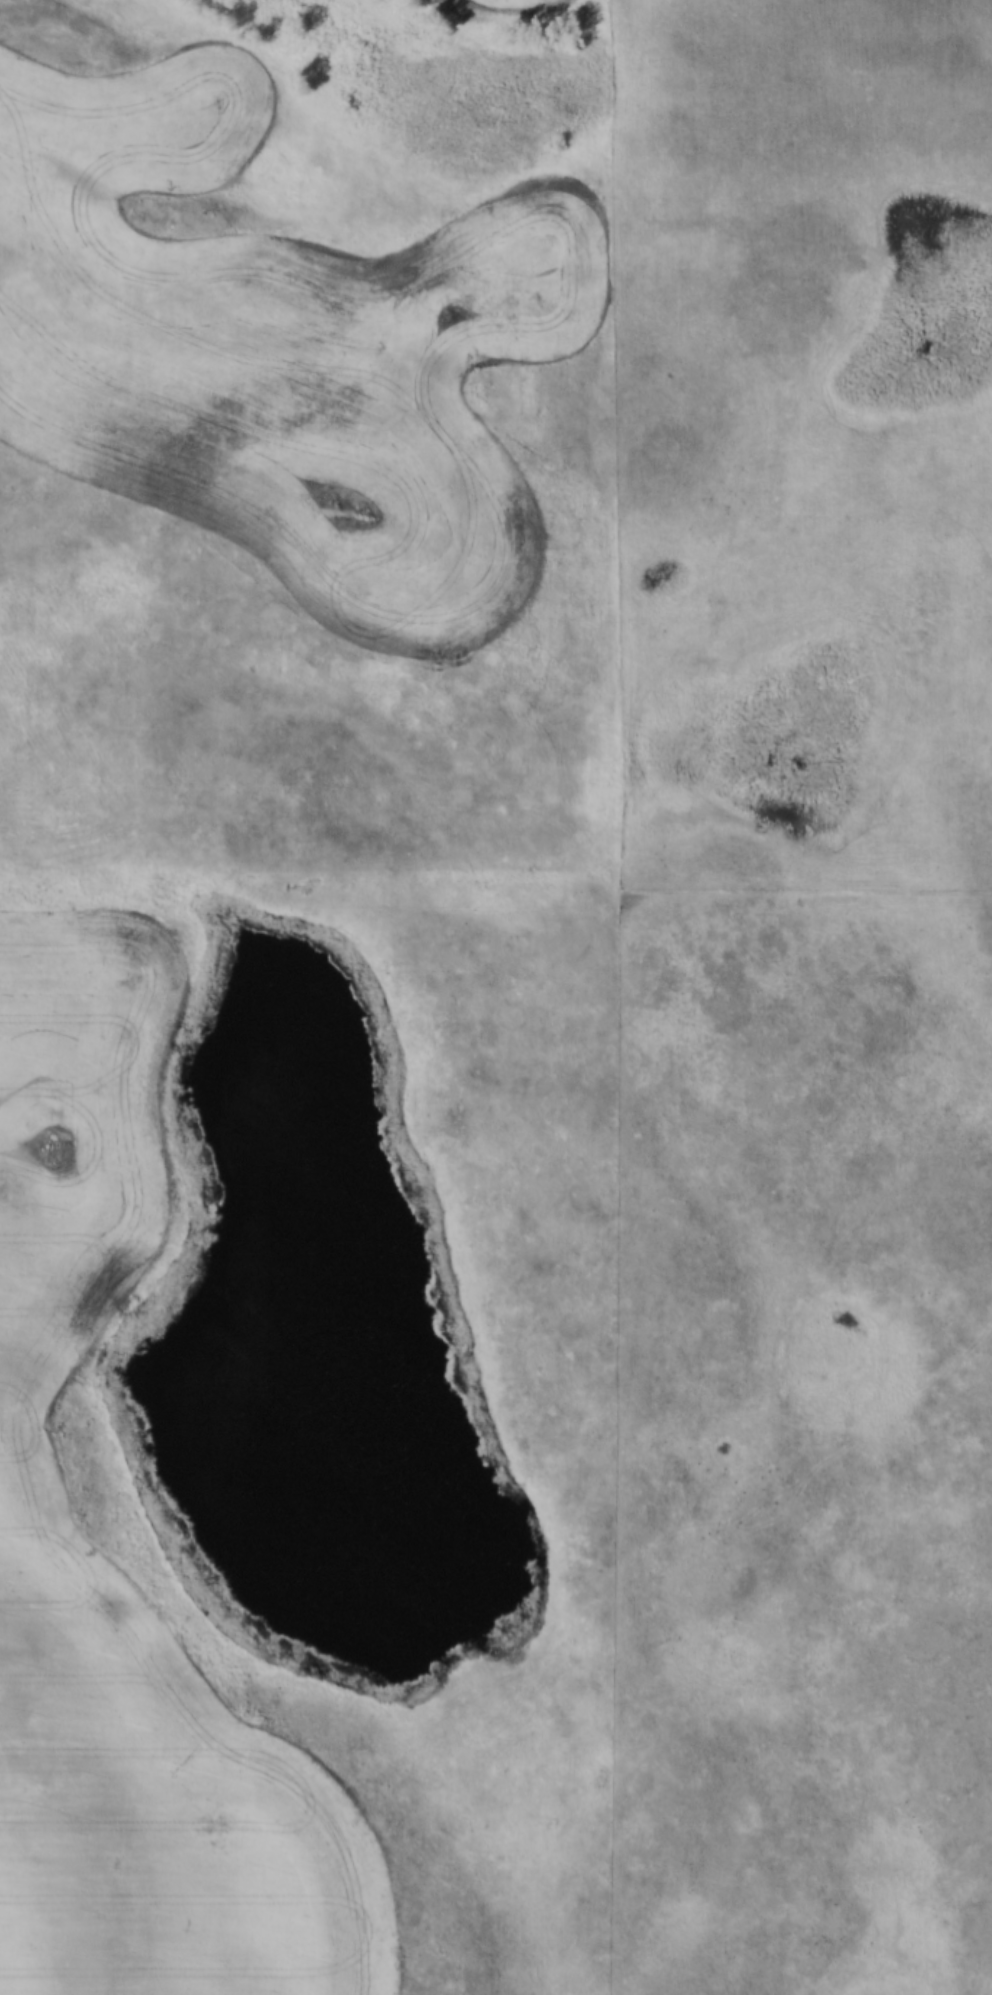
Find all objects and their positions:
road: (496, 932)

